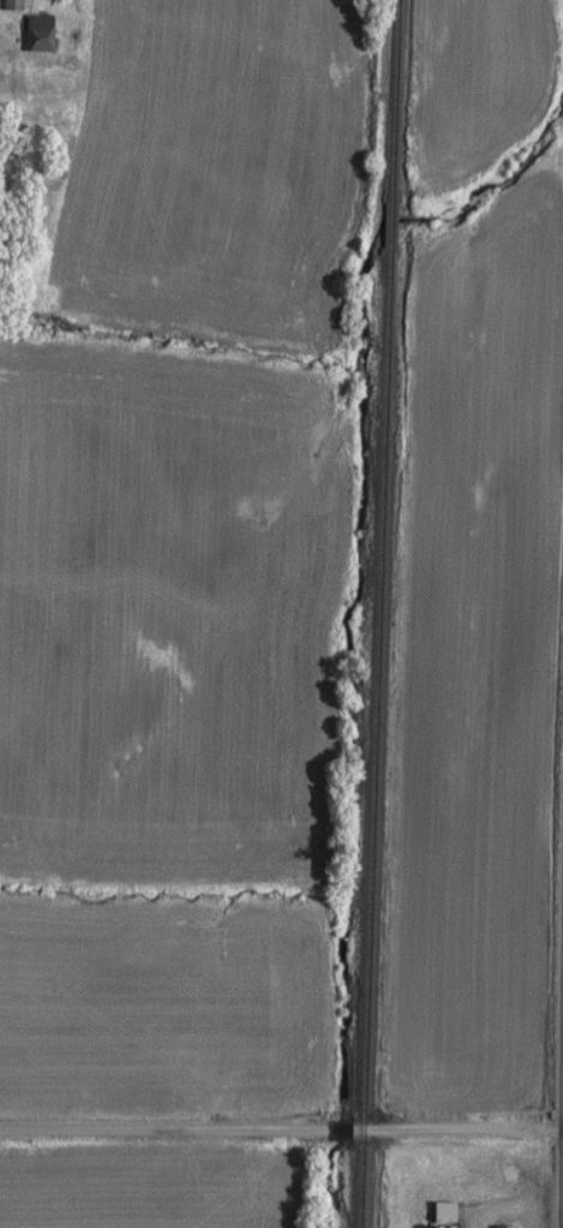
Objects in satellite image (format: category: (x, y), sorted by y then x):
building: (7, 5)
building: (29, 34)
railway: (385, 100)
railway: (383, 226)
railway: (369, 740)
road: (281, 1129)
building: (433, 1214)
building: (496, 1227)

